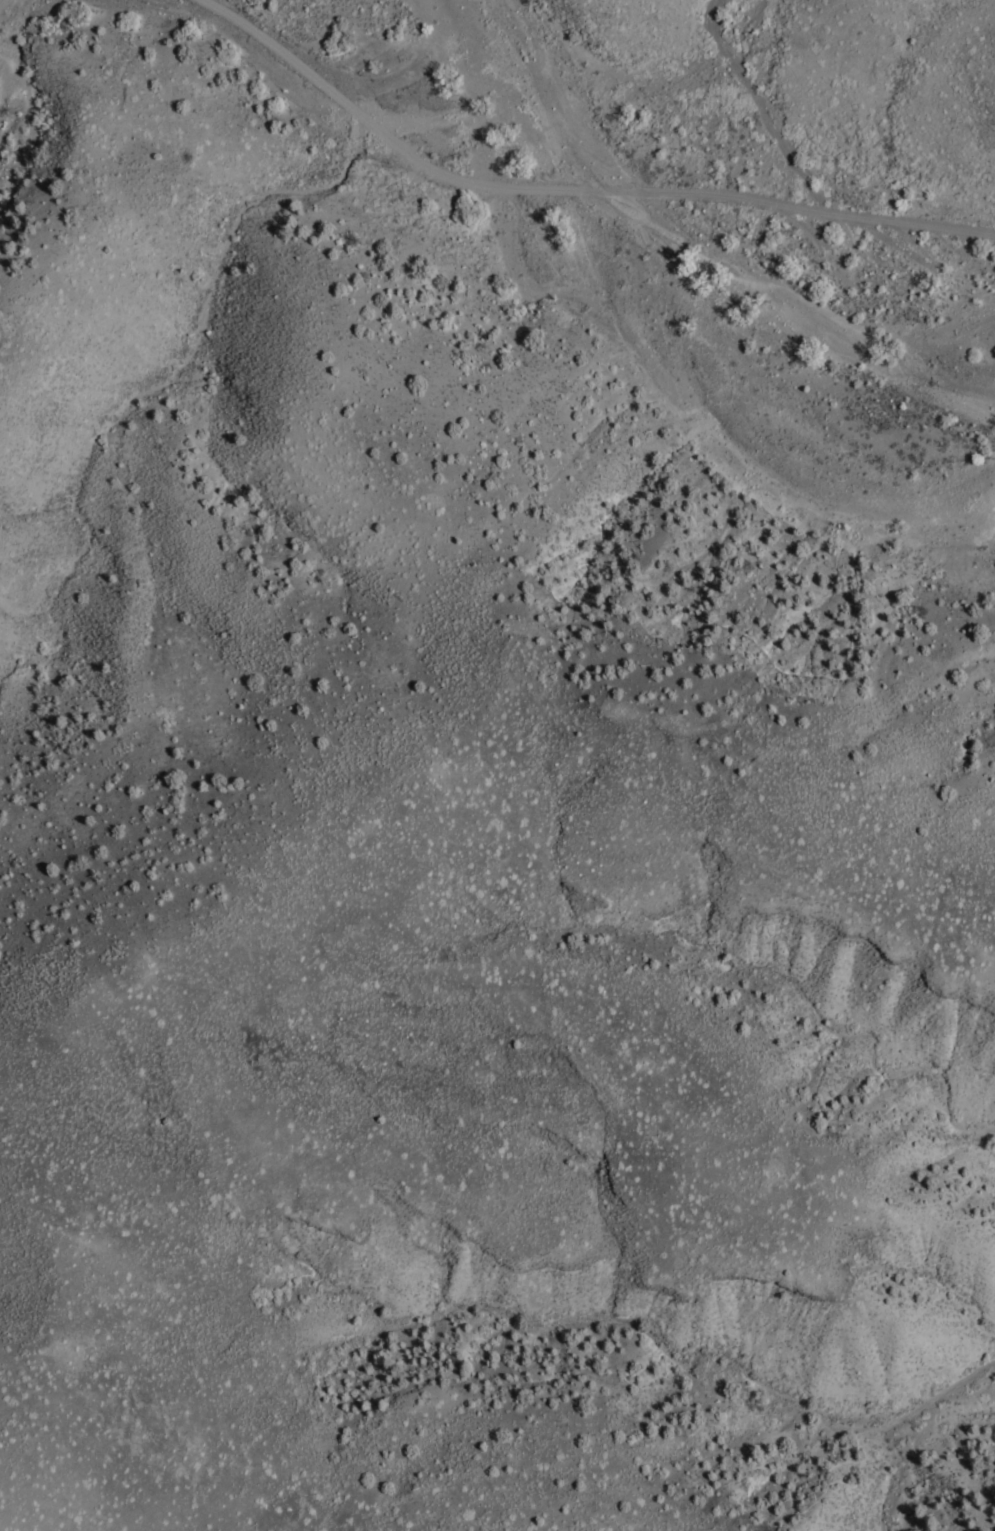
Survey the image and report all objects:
road: (577, 148)

